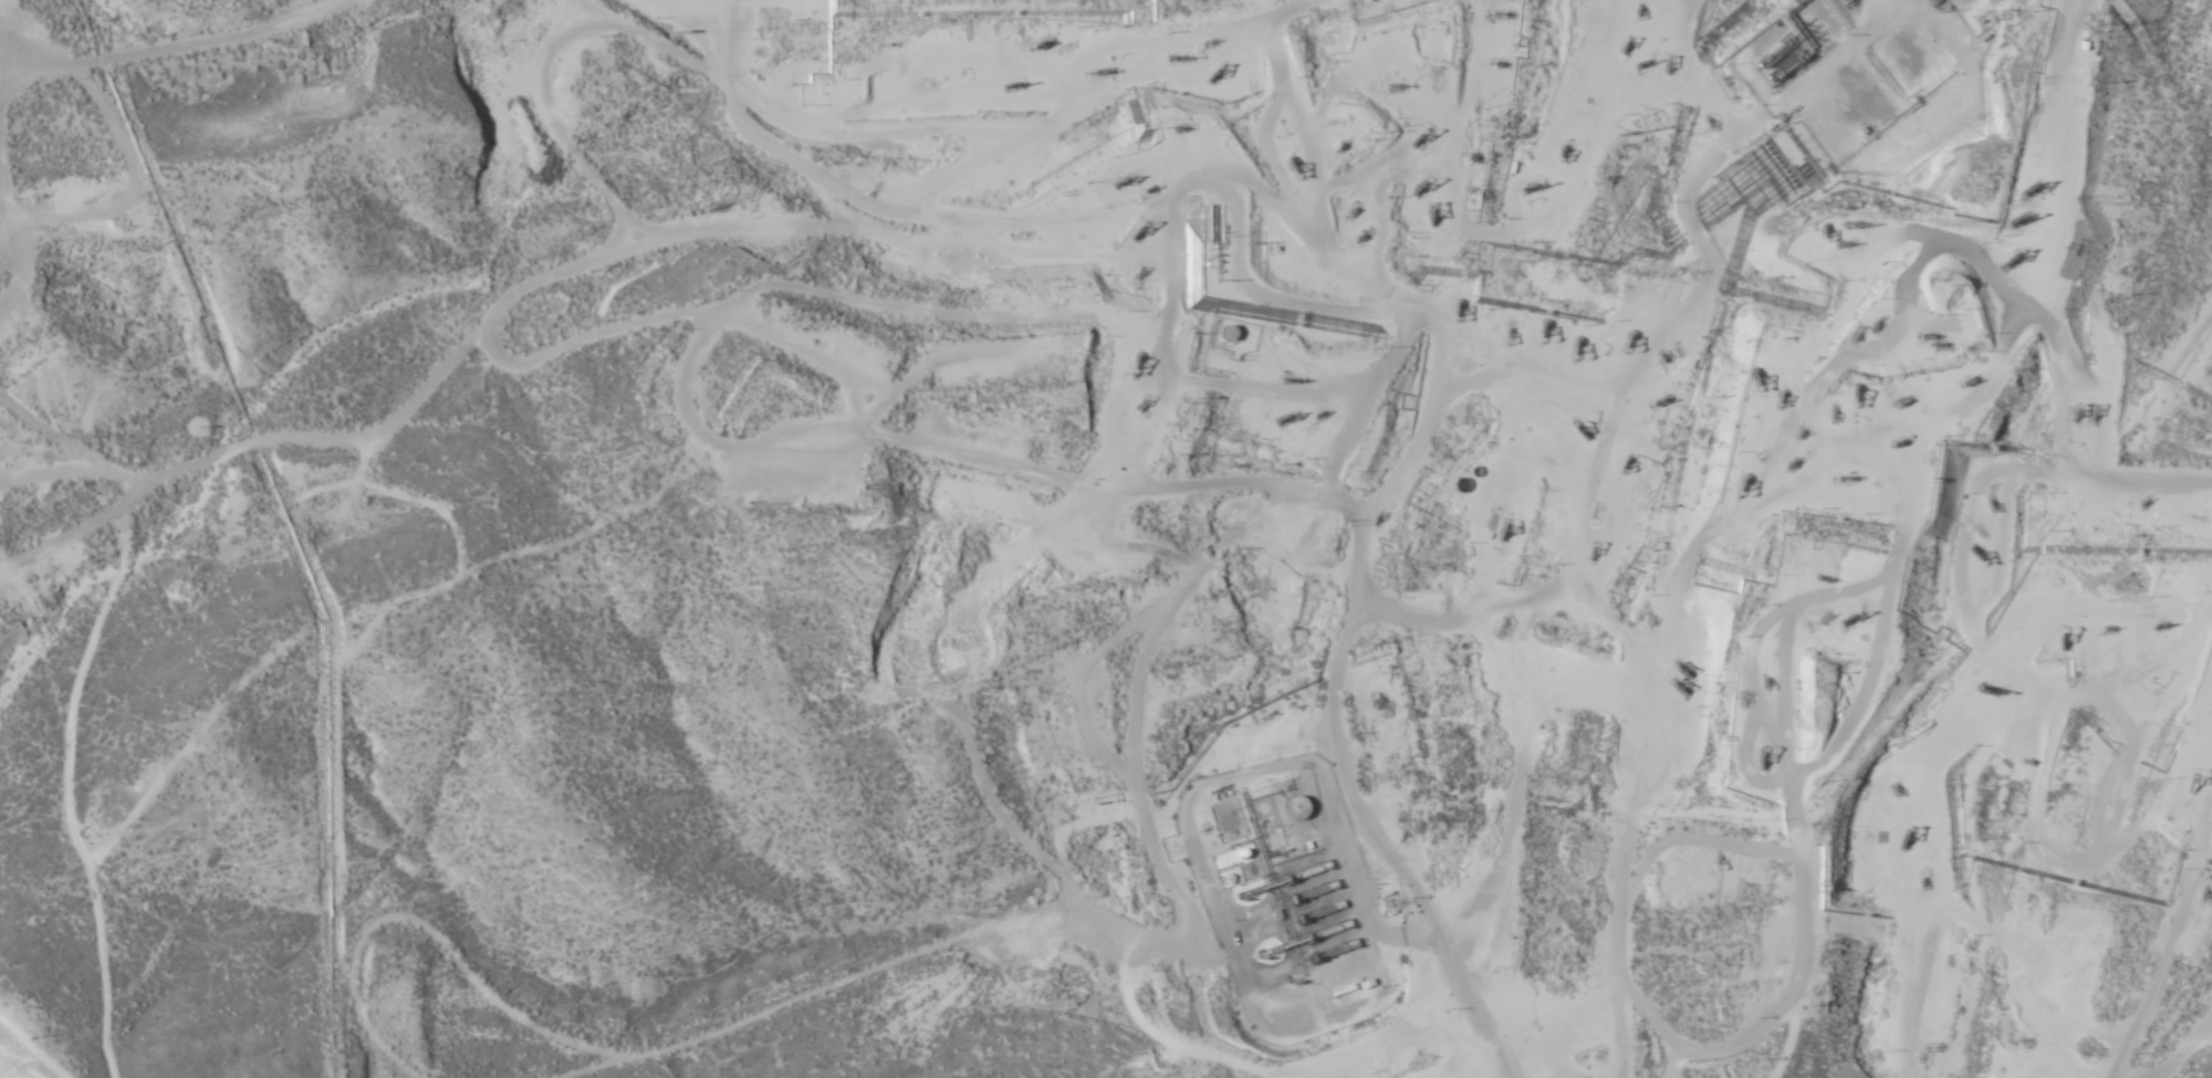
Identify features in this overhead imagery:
building: (1898, 61)
building: (1870, 105)
building: (1298, 808)
road: (2172, 925)

